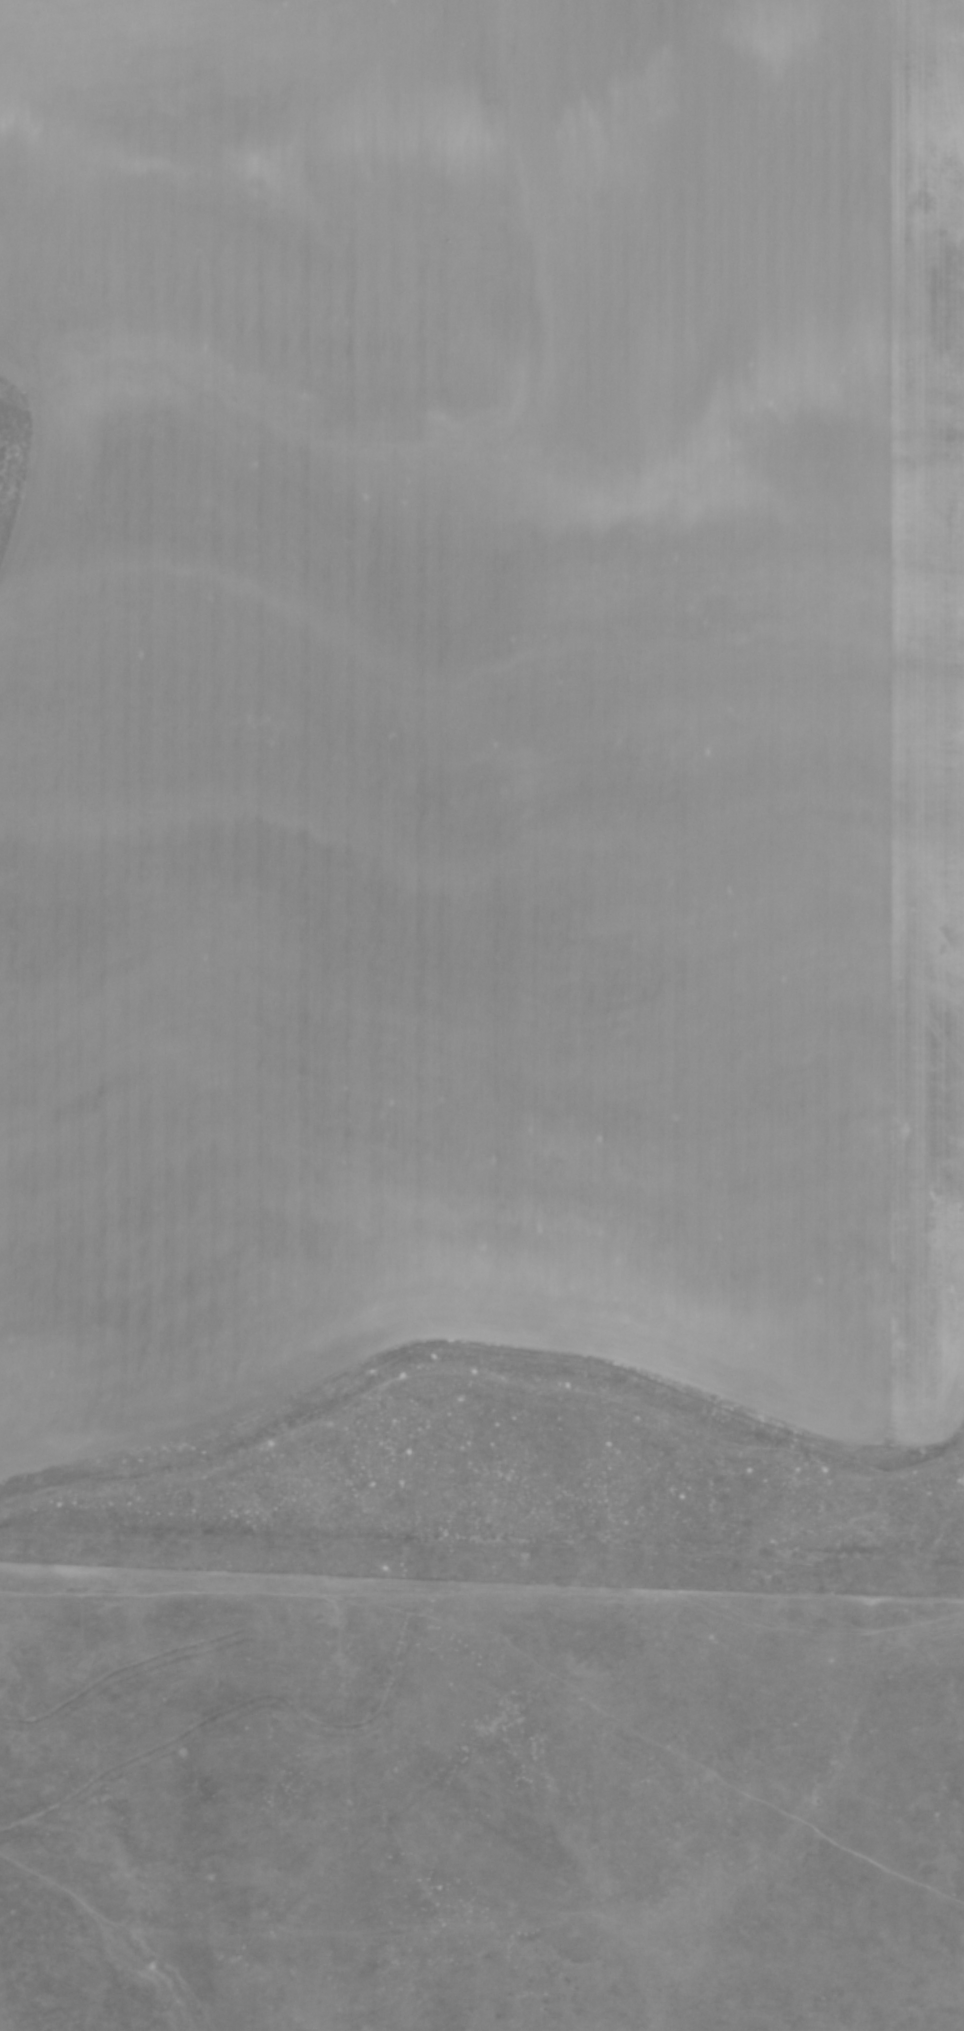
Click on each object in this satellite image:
crop: (482, 703)

